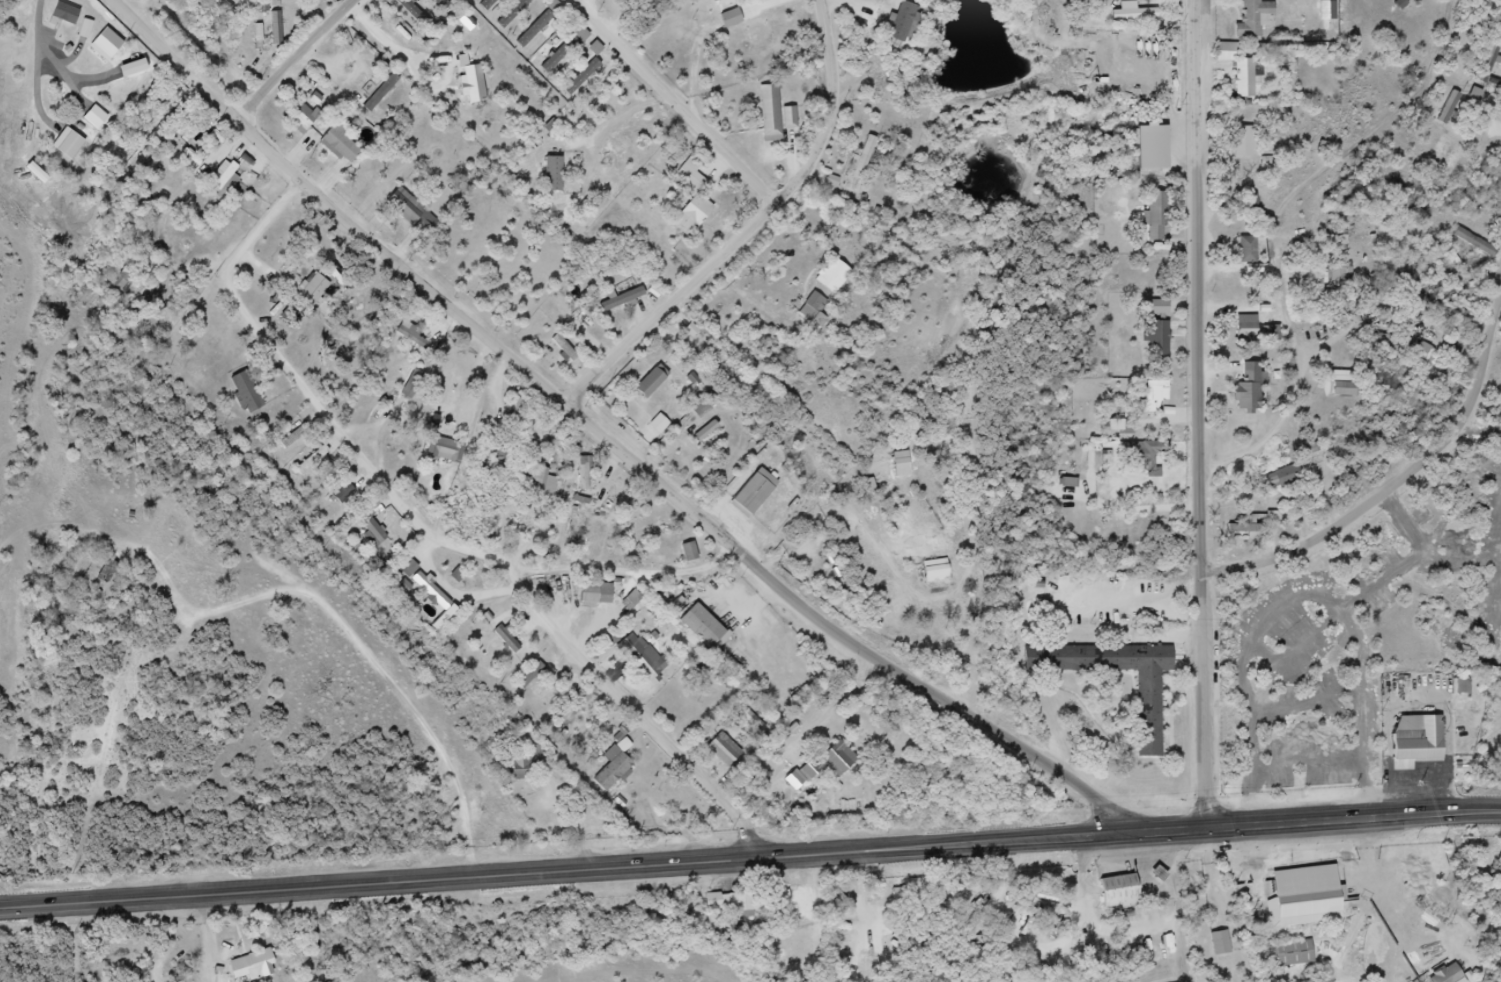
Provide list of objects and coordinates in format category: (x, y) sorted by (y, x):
building: (655, 1)
building: (441, 4)
building: (1122, 7)
building: (514, 12)
building: (64, 13)
building: (1328, 13)
building: (414, 14)
building: (538, 23)
building: (1262, 23)
building: (87, 30)
building: (106, 45)
building: (566, 48)
building: (350, 57)
road: (293, 60)
building: (1489, 64)
building: (130, 69)
building: (583, 77)
building: (1254, 83)
road: (688, 99)
building: (1449, 108)
building: (775, 115)
building: (94, 117)
building: (66, 144)
building: (341, 145)
building: (1252, 145)
building: (1161, 156)
building: (864, 158)
building: (553, 174)
building: (228, 177)
building: (692, 199)
building: (413, 212)
building: (1165, 222)
road: (1286, 223)
road: (756, 228)
building: (1475, 243)
building: (1248, 250)
building: (1257, 255)
building: (1339, 274)
building: (832, 276)
building: (122, 285)
building: (315, 292)
building: (622, 300)
building: (813, 309)
building: (1168, 316)
building: (589, 325)
building: (406, 330)
building: (1259, 332)
building: (1157, 340)
building: (422, 344)
building: (1168, 348)
building: (1426, 354)
building: (652, 382)
building: (246, 392)
building: (1157, 392)
building: (1259, 399)
building: (1166, 407)
building: (519, 409)
road: (1204, 414)
building: (1125, 426)
building: (1124, 435)
building: (294, 436)
building: (702, 437)
road: (616, 445)
building: (446, 451)
building: (1139, 452)
building: (1095, 462)
building: (1156, 464)
building: (1108, 466)
building: (584, 473)
building: (1285, 478)
building: (1068, 483)
road: (1392, 485)
building: (1077, 490)
building: (754, 492)
building: (373, 529)
building: (1266, 532)
road: (449, 537)
building: (689, 552)
building: (109, 571)
building: (427, 586)
building: (596, 594)
building: (701, 627)
building: (508, 639)
building: (642, 658)
building: (531, 676)
building: (1461, 687)
building: (1161, 719)
building: (752, 721)
building: (1419, 739)
building: (625, 746)
building: (725, 750)
building: (830, 761)
building: (847, 766)
building: (532, 768)
building: (610, 771)
building: (621, 776)
building: (808, 786)
road: (1329, 819)
road: (918, 850)
road: (1043, 877)
road: (339, 889)
building: (1303, 889)
road: (1088, 893)
road: (872, 894)
building: (1129, 895)
building: (741, 906)
road: (901, 909)
building: (1221, 943)
road: (1034, 952)
building: (1294, 954)
road: (893, 955)
road: (867, 957)
road: (1076, 963)
building: (1380, 963)
building: (263, 968)
building: (1445, 975)

